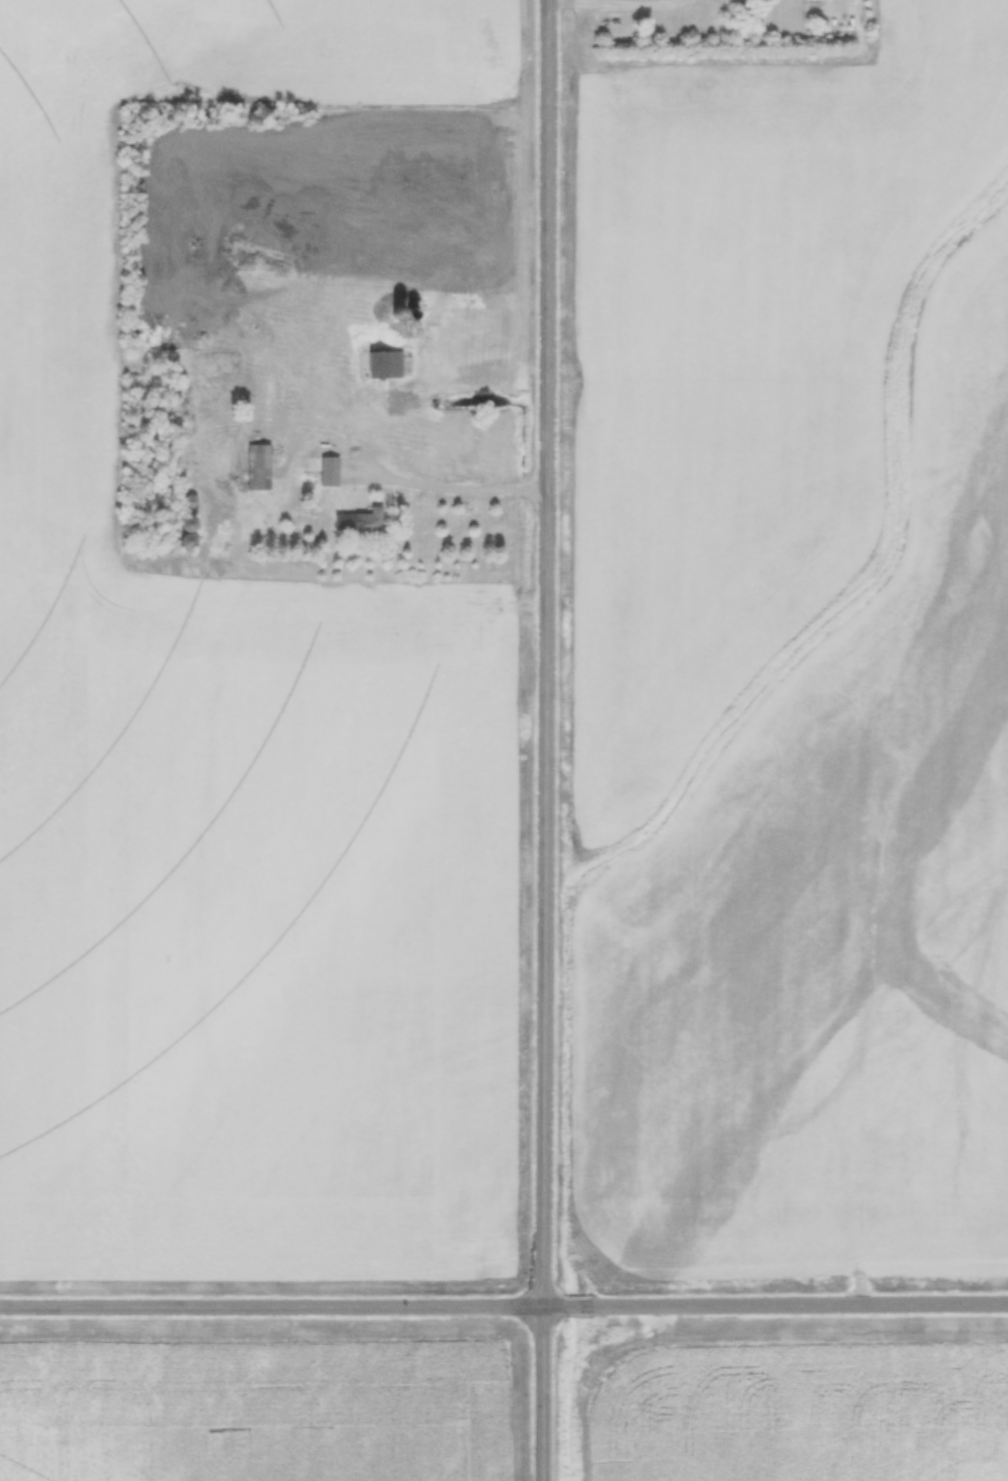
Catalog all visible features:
road: (613, 2)
building: (417, 239)
building: (382, 362)
building: (260, 464)
building: (327, 469)
road: (464, 490)
building: (246, 497)
building: (358, 519)
road: (545, 740)
road: (504, 1310)

